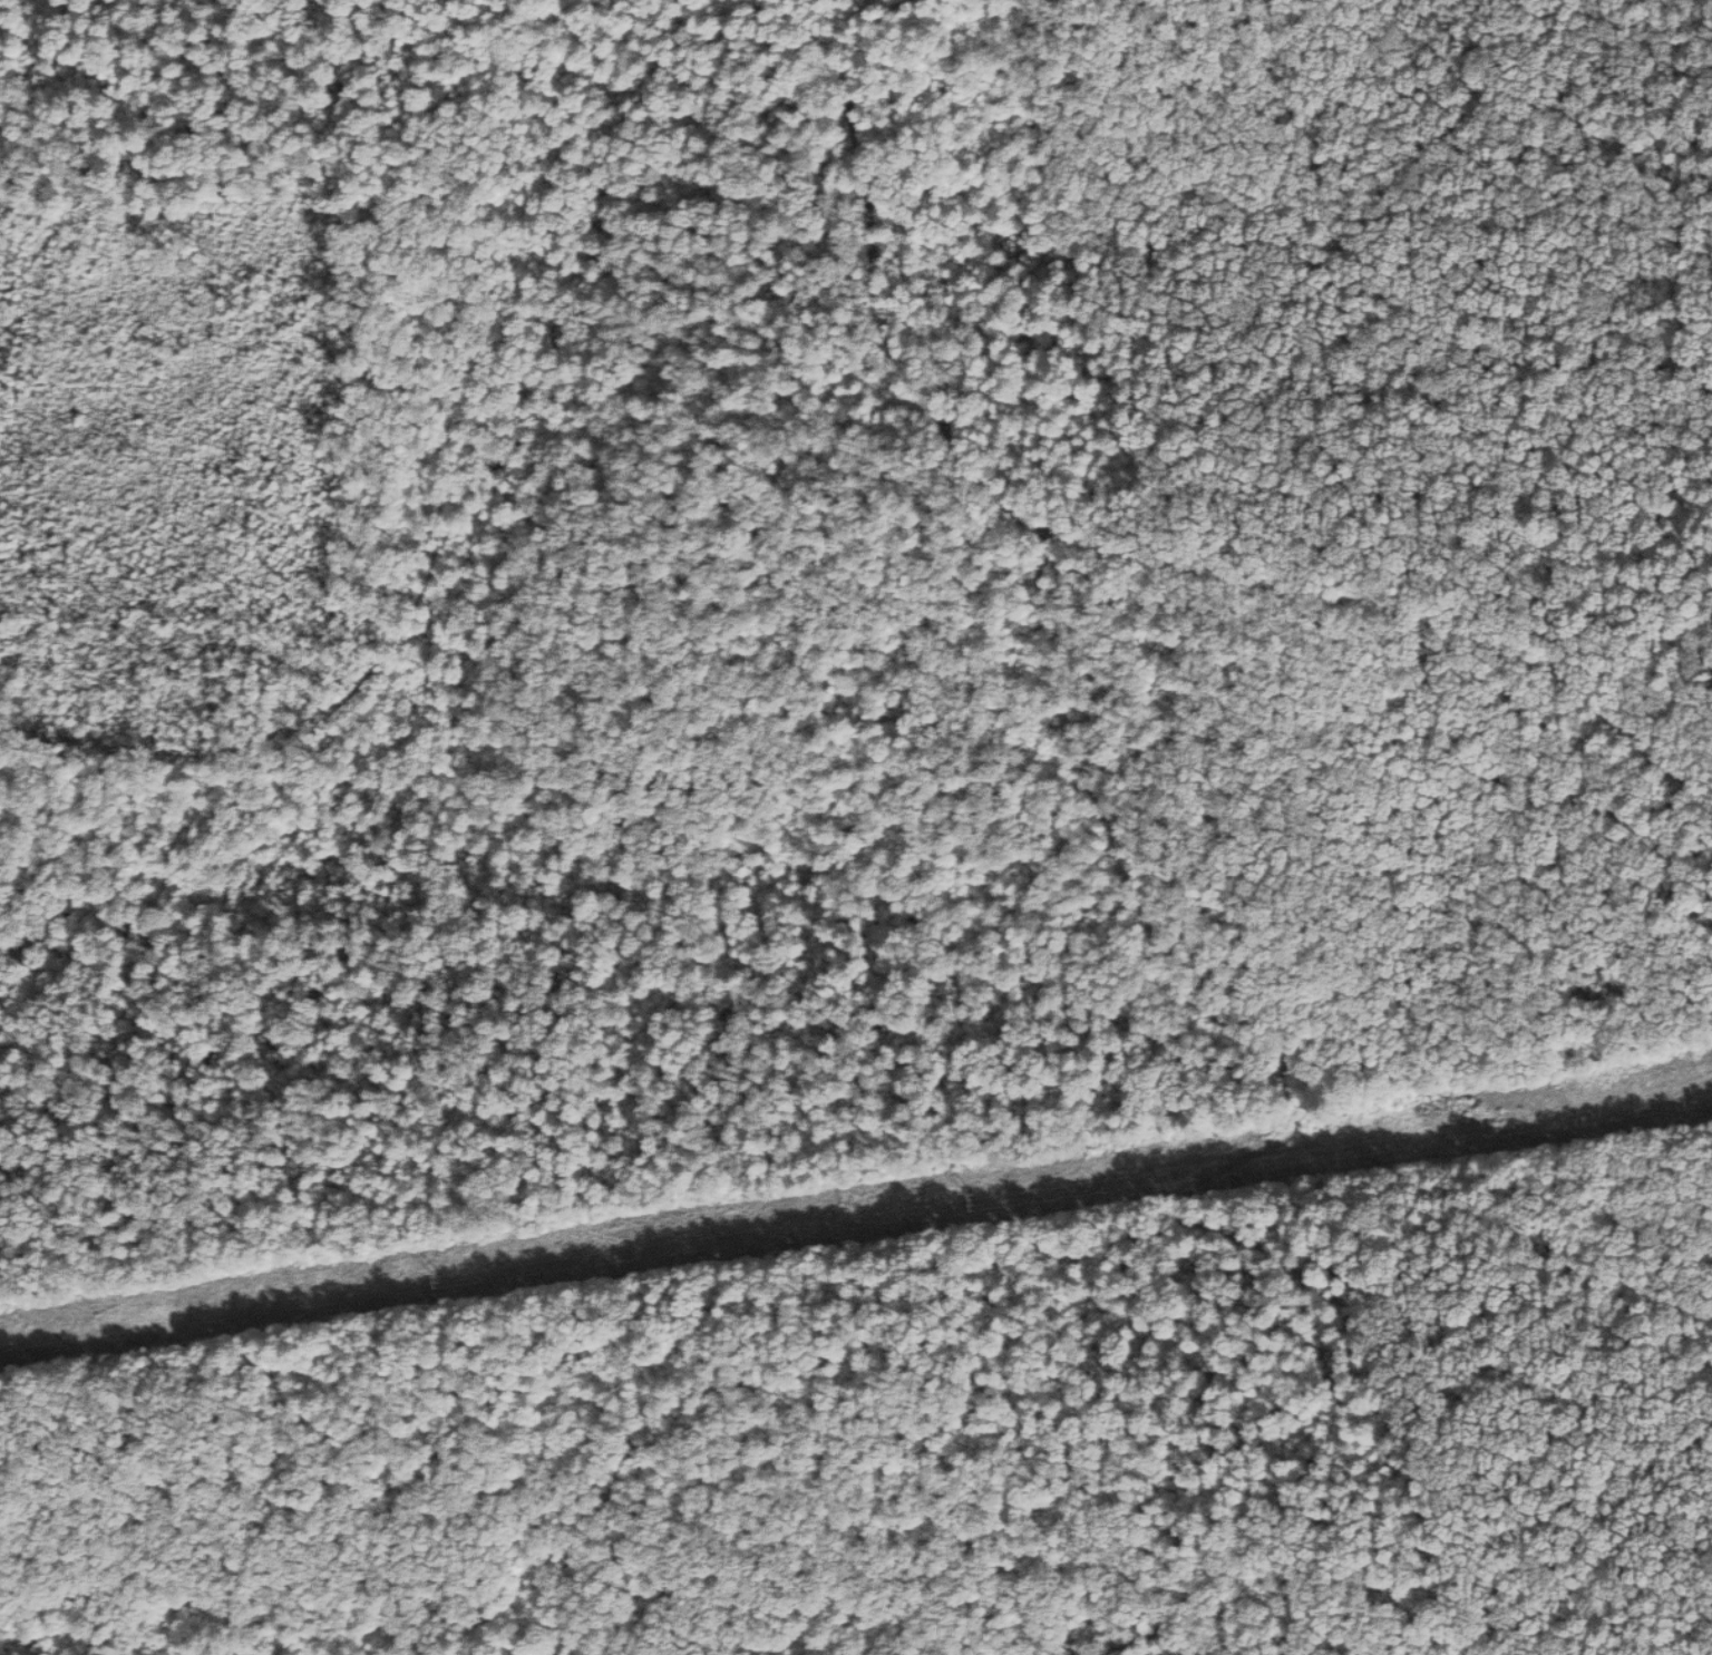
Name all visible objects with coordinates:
road: (1070, 528)

